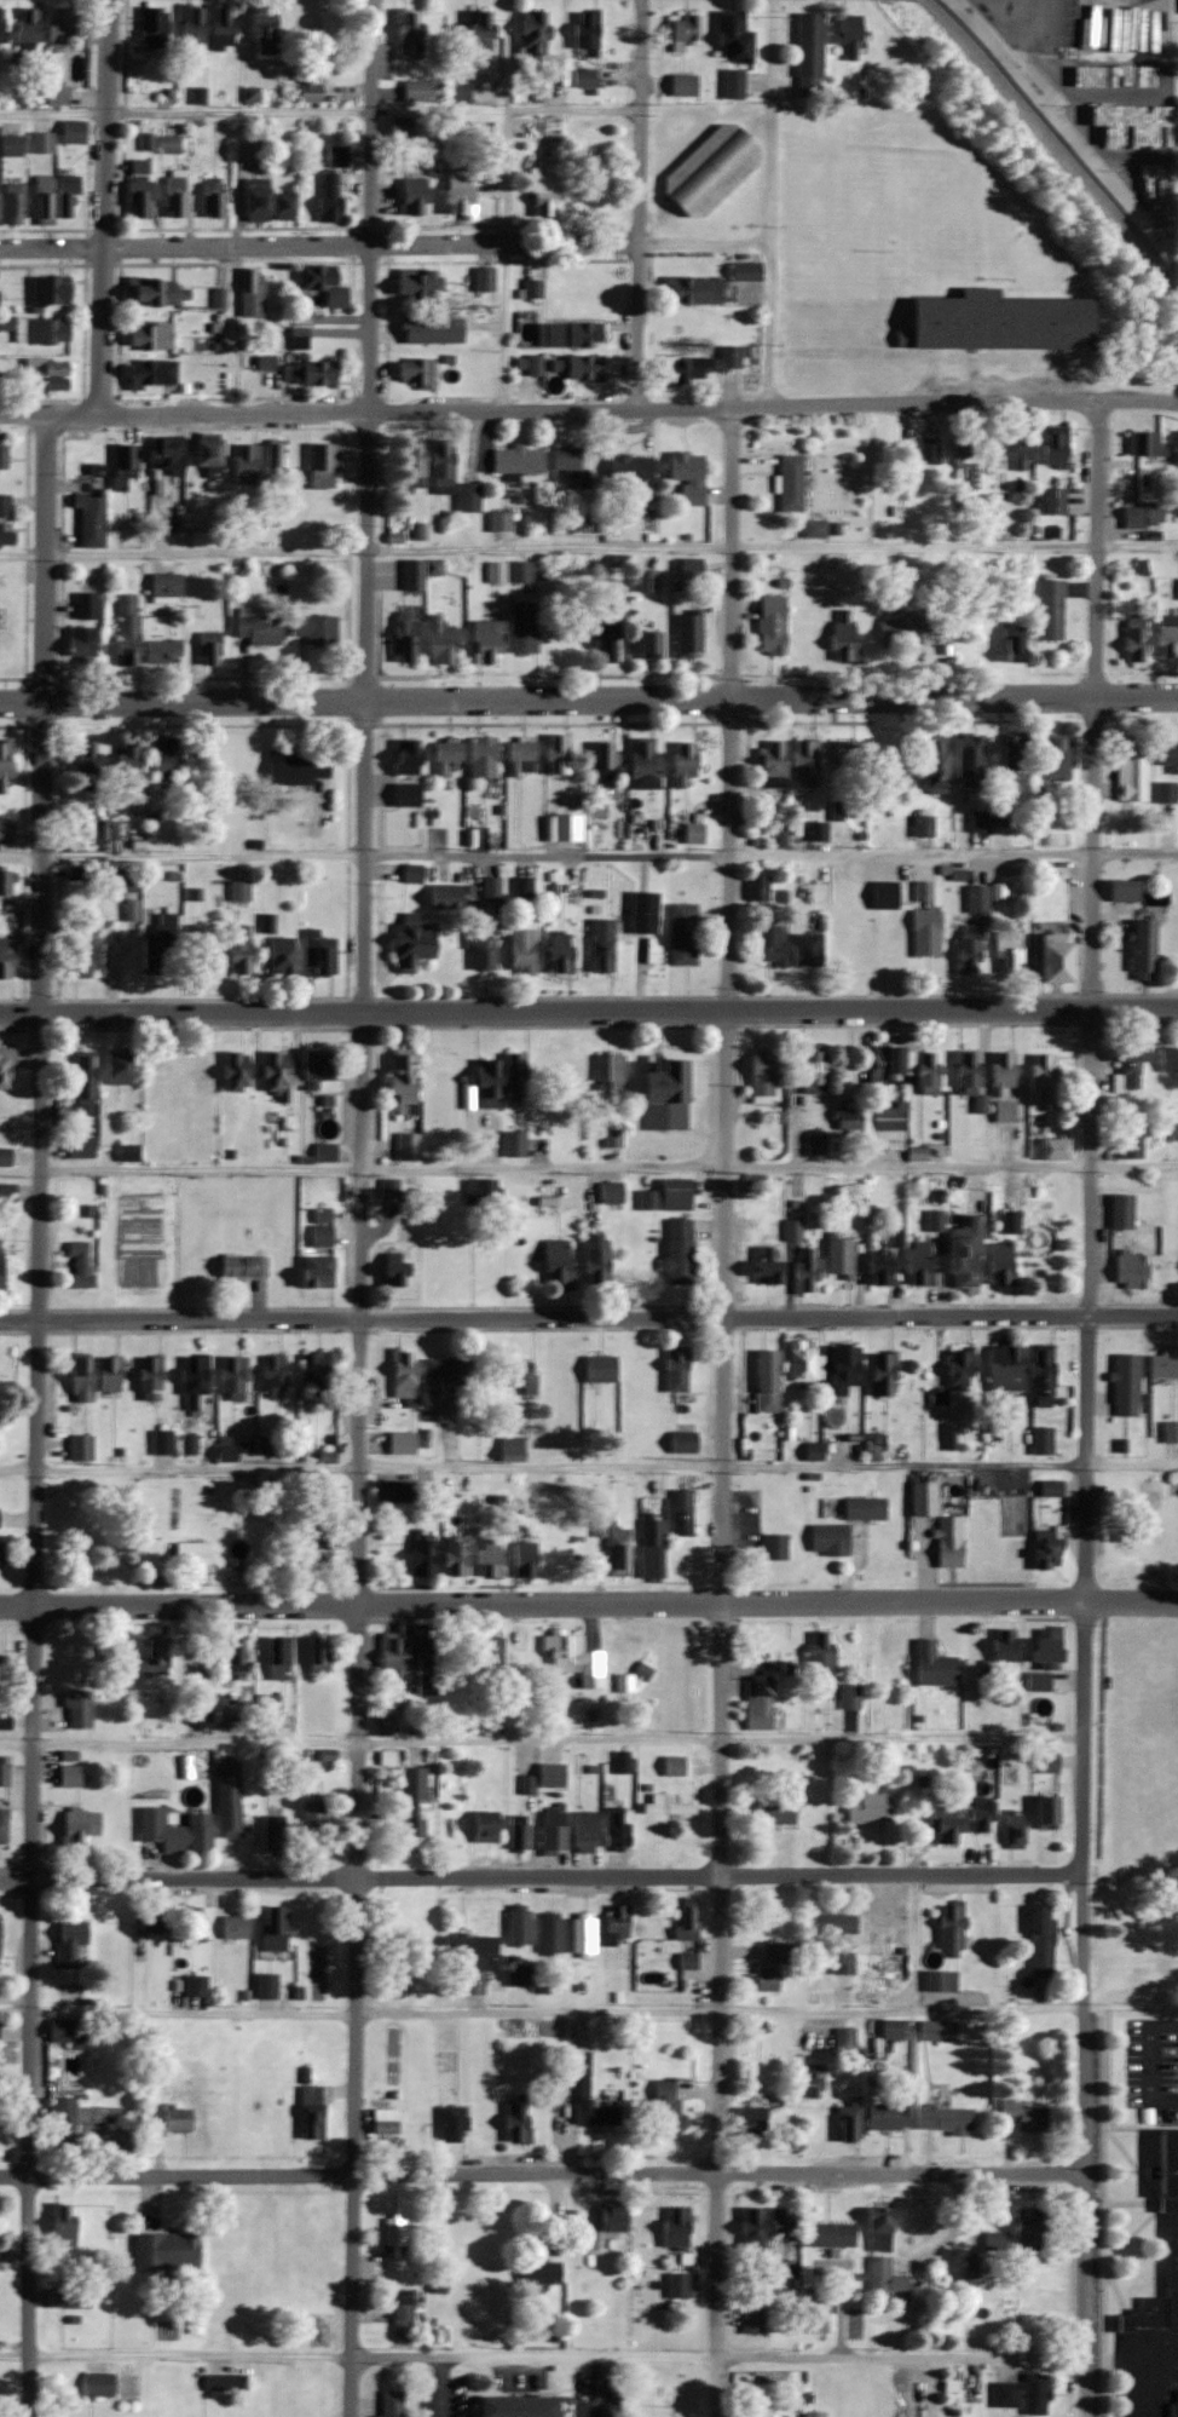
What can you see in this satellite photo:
building: (4, 24)
building: (64, 27)
building: (150, 27)
building: (30, 28)
building: (202, 28)
building: (327, 30)
building: (475, 31)
building: (680, 31)
building: (260, 34)
building: (405, 34)
building: (583, 34)
building: (845, 36)
building: (532, 39)
building: (731, 39)
building: (805, 54)
building: (582, 79)
building: (731, 84)
building: (678, 85)
building: (305, 86)
building: (412, 91)
road: (318, 110)
road: (504, 122)
building: (548, 126)
building: (397, 127)
railway: (1046, 127)
building: (76, 132)
building: (44, 143)
building: (167, 144)
building: (334, 156)
building: (137, 166)
building: (705, 172)
building: (171, 194)
building: (538, 195)
building: (70, 197)
building: (134, 197)
building: (208, 197)
building: (409, 197)
building: (47, 200)
building: (325, 200)
building: (0, 201)
road: (766, 202)
building: (17, 203)
building: (455, 203)
building: (264, 205)
road: (635, 205)
road: (104, 207)
road: (382, 244)
building: (741, 272)
building: (481, 280)
building: (318, 283)
building: (411, 286)
building: (530, 289)
building: (688, 292)
building: (155, 293)
building: (52, 294)
building: (248, 294)
building: (216, 298)
building: (993, 321)
road: (502, 327)
road: (233, 328)
building: (40, 329)
building: (427, 330)
building: (566, 334)
building: (146, 336)
building: (296, 338)
building: (262, 363)
building: (531, 366)
building: (697, 368)
building: (579, 370)
building: (53, 373)
building: (149, 374)
building: (310, 374)
building: (410, 374)
building: (19, 386)
road: (589, 410)
building: (1143, 443)
building: (960, 444)
building: (926, 448)
building: (1010, 450)
building: (1053, 450)
building: (167, 454)
building: (204, 455)
building: (5, 456)
building: (515, 459)
building: (271, 460)
building: (410, 461)
building: (242, 462)
building: (318, 465)
building: (566, 465)
building: (119, 467)
building: (630, 471)
building: (685, 474)
building: (446, 476)
building: (787, 482)
building: (1051, 500)
building: (6, 506)
building: (1141, 513)
building: (89, 519)
building: (810, 528)
building: (7, 537)
road: (588, 546)
building: (431, 566)
building: (687, 568)
building: (518, 570)
building: (410, 574)
building: (645, 580)
building: (83, 604)
building: (1047, 608)
building: (768, 623)
building: (312, 627)
building: (520, 627)
building: (123, 628)
building: (255, 628)
building: (897, 629)
building: (685, 632)
building: (841, 633)
building: (1166, 634)
building: (400, 637)
building: (1132, 637)
building: (439, 639)
building: (484, 639)
building: (79, 640)
building: (7, 643)
building: (643, 643)
building: (204, 645)
building: (604, 645)
building: (1009, 646)
building: (158, 650)
road: (588, 698)
building: (1011, 750)
building: (1165, 750)
building: (555, 753)
building: (599, 754)
building: (848, 754)
building: (402, 755)
building: (443, 755)
building: (479, 756)
building: (1053, 756)
building: (518, 758)
building: (161, 759)
building: (965, 759)
building: (4, 760)
building: (125, 760)
building: (680, 761)
building: (768, 761)
building: (802, 761)
building: (82, 762)
building: (641, 764)
building: (930, 764)
building: (291, 766)
building: (1127, 770)
building: (1163, 792)
building: (403, 794)
building: (984, 818)
building: (922, 824)
building: (5, 830)
building: (565, 830)
building: (689, 833)
road: (589, 853)
building: (1050, 868)
building: (410, 873)
building: (885, 879)
building: (4, 880)
building: (114, 881)
building: (489, 887)
building: (520, 887)
building: (756, 888)
building: (1119, 890)
building: (440, 897)
building: (974, 898)
building: (128, 910)
building: (640, 911)
building: (922, 920)
building: (680, 933)
building: (408, 940)
building: (768, 943)
building: (154, 944)
building: (599, 944)
building: (235, 949)
building: (804, 949)
building: (1139, 949)
building: (518, 950)
building: (317, 951)
building: (554, 953)
building: (76, 954)
building: (480, 954)
building: (964, 954)
building: (1005, 954)
building: (277, 956)
building: (4, 957)
building: (1049, 957)
road: (588, 1011)
building: (884, 1058)
building: (1167, 1058)
building: (192, 1066)
building: (4, 1067)
building: (1124, 1067)
building: (116, 1069)
building: (230, 1070)
building: (293, 1070)
building: (607, 1070)
building: (808, 1070)
building: (964, 1070)
building: (923, 1071)
building: (1000, 1071)
building: (758, 1074)
building: (512, 1075)
building: (399, 1076)
building: (1040, 1077)
building: (79, 1078)
building: (484, 1082)
building: (156, 1084)
building: (660, 1095)
building: (1001, 1110)
building: (884, 1116)
building: (845, 1118)
building: (611, 1136)
building: (512, 1143)
building: (1128, 1144)
building: (404, 1145)
building: (77, 1146)
building: (1051, 1147)
building: (322, 1151)
building: (125, 1152)
building: (7, 1156)
road: (588, 1166)
building: (387, 1187)
building: (479, 1191)
building: (607, 1191)
building: (8, 1192)
building: (664, 1195)
building: (544, 1204)
road: (359, 1208)
building: (1118, 1210)
building: (1007, 1221)
building: (324, 1235)
building: (675, 1250)
building: (960, 1251)
building: (836, 1256)
building: (877, 1258)
building: (591, 1260)
building: (916, 1261)
building: (4, 1262)
building: (998, 1262)
building: (82, 1264)
building: (554, 1264)
building: (763, 1264)
building: (246, 1266)
building: (1128, 1268)
building: (388, 1270)
building: (321, 1271)
building: (803, 1271)
road: (588, 1318)
building: (642, 1360)
building: (798, 1360)
building: (1161, 1365)
building: (1003, 1366)
building: (596, 1368)
building: (957, 1368)
building: (672, 1369)
building: (839, 1369)
building: (445, 1371)
building: (399, 1372)
building: (275, 1374)
building: (879, 1374)
building: (236, 1376)
building: (1038, 1377)
building: (154, 1379)
building: (197, 1380)
building: (317, 1380)
building: (516, 1381)
building: (763, 1381)
building: (1122, 1385)
road: (1086, 1408)
building: (443, 1410)
road: (720, 1412)
road: (37, 1415)
building: (1170, 1432)
building: (1039, 1440)
building: (164, 1441)
building: (680, 1441)
building: (400, 1443)
building: (190, 1444)
building: (872, 1446)
building: (83, 1448)
building: (508, 1449)
building: (810, 1451)
road: (588, 1463)
building: (1047, 1487)
building: (394, 1491)
building: (920, 1498)
building: (861, 1508)
building: (678, 1510)
building: (0, 1518)
building: (597, 1520)
building: (1016, 1531)
building: (96, 1532)
building: (826, 1538)
building: (947, 1541)
building: (316, 1546)
building: (772, 1546)
building: (649, 1548)
building: (1044, 1548)
building: (614, 1550)
building: (4, 1552)
building: (197, 1556)
building: (420, 1558)
building: (451, 1558)
building: (484, 1558)
building: (520, 1559)
road: (589, 1602)
building: (885, 1644)
building: (1004, 1644)
building: (201, 1650)
building: (1044, 1651)
building: (816, 1652)
building: (322, 1653)
building: (239, 1656)
building: (409, 1656)
building: (282, 1657)
building: (487, 1657)
building: (157, 1658)
building: (570, 1658)
building: (931, 1664)
building: (4, 1668)
building: (1036, 1681)
building: (622, 1682)
building: (848, 1696)
building: (755, 1703)
building: (270, 1704)
building: (81, 1708)
building: (386, 1725)
road: (541, 1739)
building: (619, 1761)
building: (1043, 1761)
building: (670, 1766)
building: (5, 1772)
building: (549, 1774)
building: (73, 1776)
building: (231, 1799)
building: (417, 1802)
building: (663, 1806)
building: (866, 1806)
building: (769, 1812)
building: (1043, 1812)
building: (977, 1815)
building: (316, 1824)
building: (942, 1824)
building: (82, 1825)
building: (5, 1826)
building: (613, 1828)
building: (178, 1830)
building: (483, 1830)
building: (550, 1830)
building: (1012, 1830)
building: (515, 1831)
building: (582, 1831)
building: (277, 1835)
road: (539, 1876)
building: (157, 1921)
building: (614, 1923)
building: (831, 1923)
building: (683, 1924)
building: (194, 1926)
building: (516, 1926)
building: (237, 1927)
building: (278, 1928)
building: (948, 1928)
building: (549, 1933)
building: (581, 1934)
building: (1, 1938)
building: (73, 1941)
building: (1039, 1941)
building: (1130, 1950)
building: (470, 1953)
building: (399, 1957)
building: (685, 1960)
building: (839, 1963)
building: (767, 1966)
building: (870, 1973)
building: (515, 1975)
building: (937, 1981)
building: (198, 1985)
building: (268, 1985)
road: (542, 2012)
building: (0, 2030)
building: (69, 2030)
building: (890, 2030)
building: (926, 2030)
building: (842, 2038)
building: (447, 2061)
building: (583, 2094)
building: (662, 2108)
building: (314, 2111)
building: (1021, 2113)
building: (887, 2116)
building: (180, 2118)
building: (65, 2119)
building: (942, 2119)
building: (388, 2120)
building: (514, 2122)
building: (845, 2123)
building: (456, 2124)
building: (749, 2124)
road: (542, 2173)
building: (611, 2220)
building: (778, 2221)
building: (65, 2223)
building: (671, 2228)
building: (876, 2229)
building: (747, 2231)
building: (1023, 2232)
building: (828, 2234)
building: (585, 2240)
building: (992, 2240)
building: (392, 2248)
building: (171, 2254)
building: (544, 2272)
building: (882, 2275)
building: (674, 2285)
building: (71, 2297)
building: (1155, 2309)
building: (308, 2312)
building: (405, 2314)
building: (813, 2317)
building: (749, 2319)
road: (542, 2354)
building: (229, 2382)
building: (103, 2383)
road: (439, 2386)
road: (595, 2386)
building: (1020, 2394)
building: (395, 2404)
building: (514, 2406)
building: (812, 2413)

